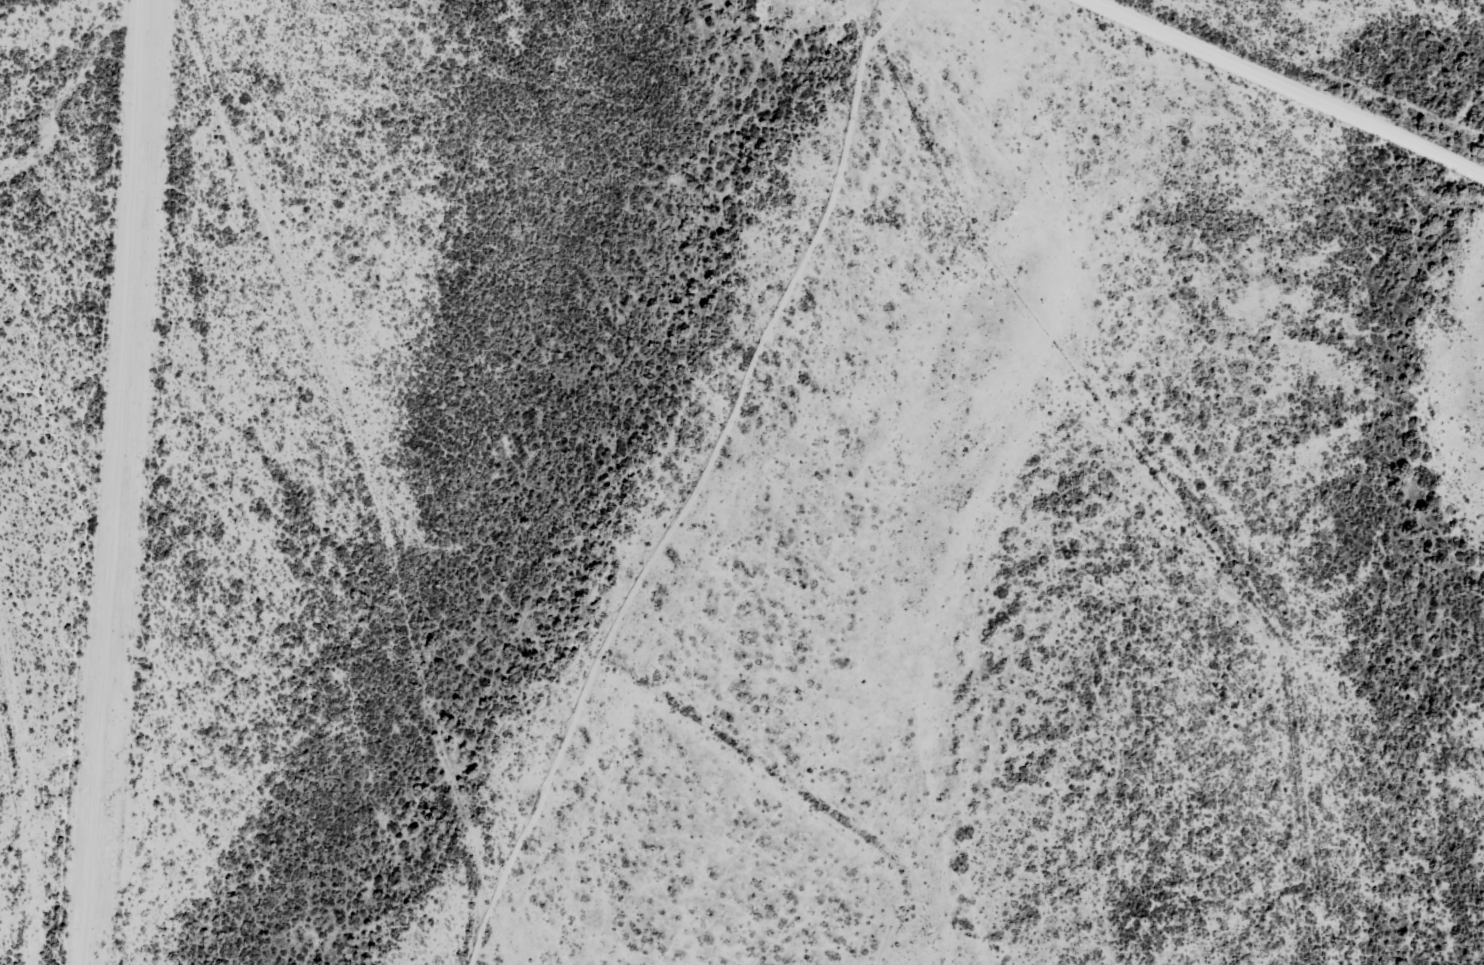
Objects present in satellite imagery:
road: (1297, 89)
road: (391, 475)
airport runway: (114, 482)

